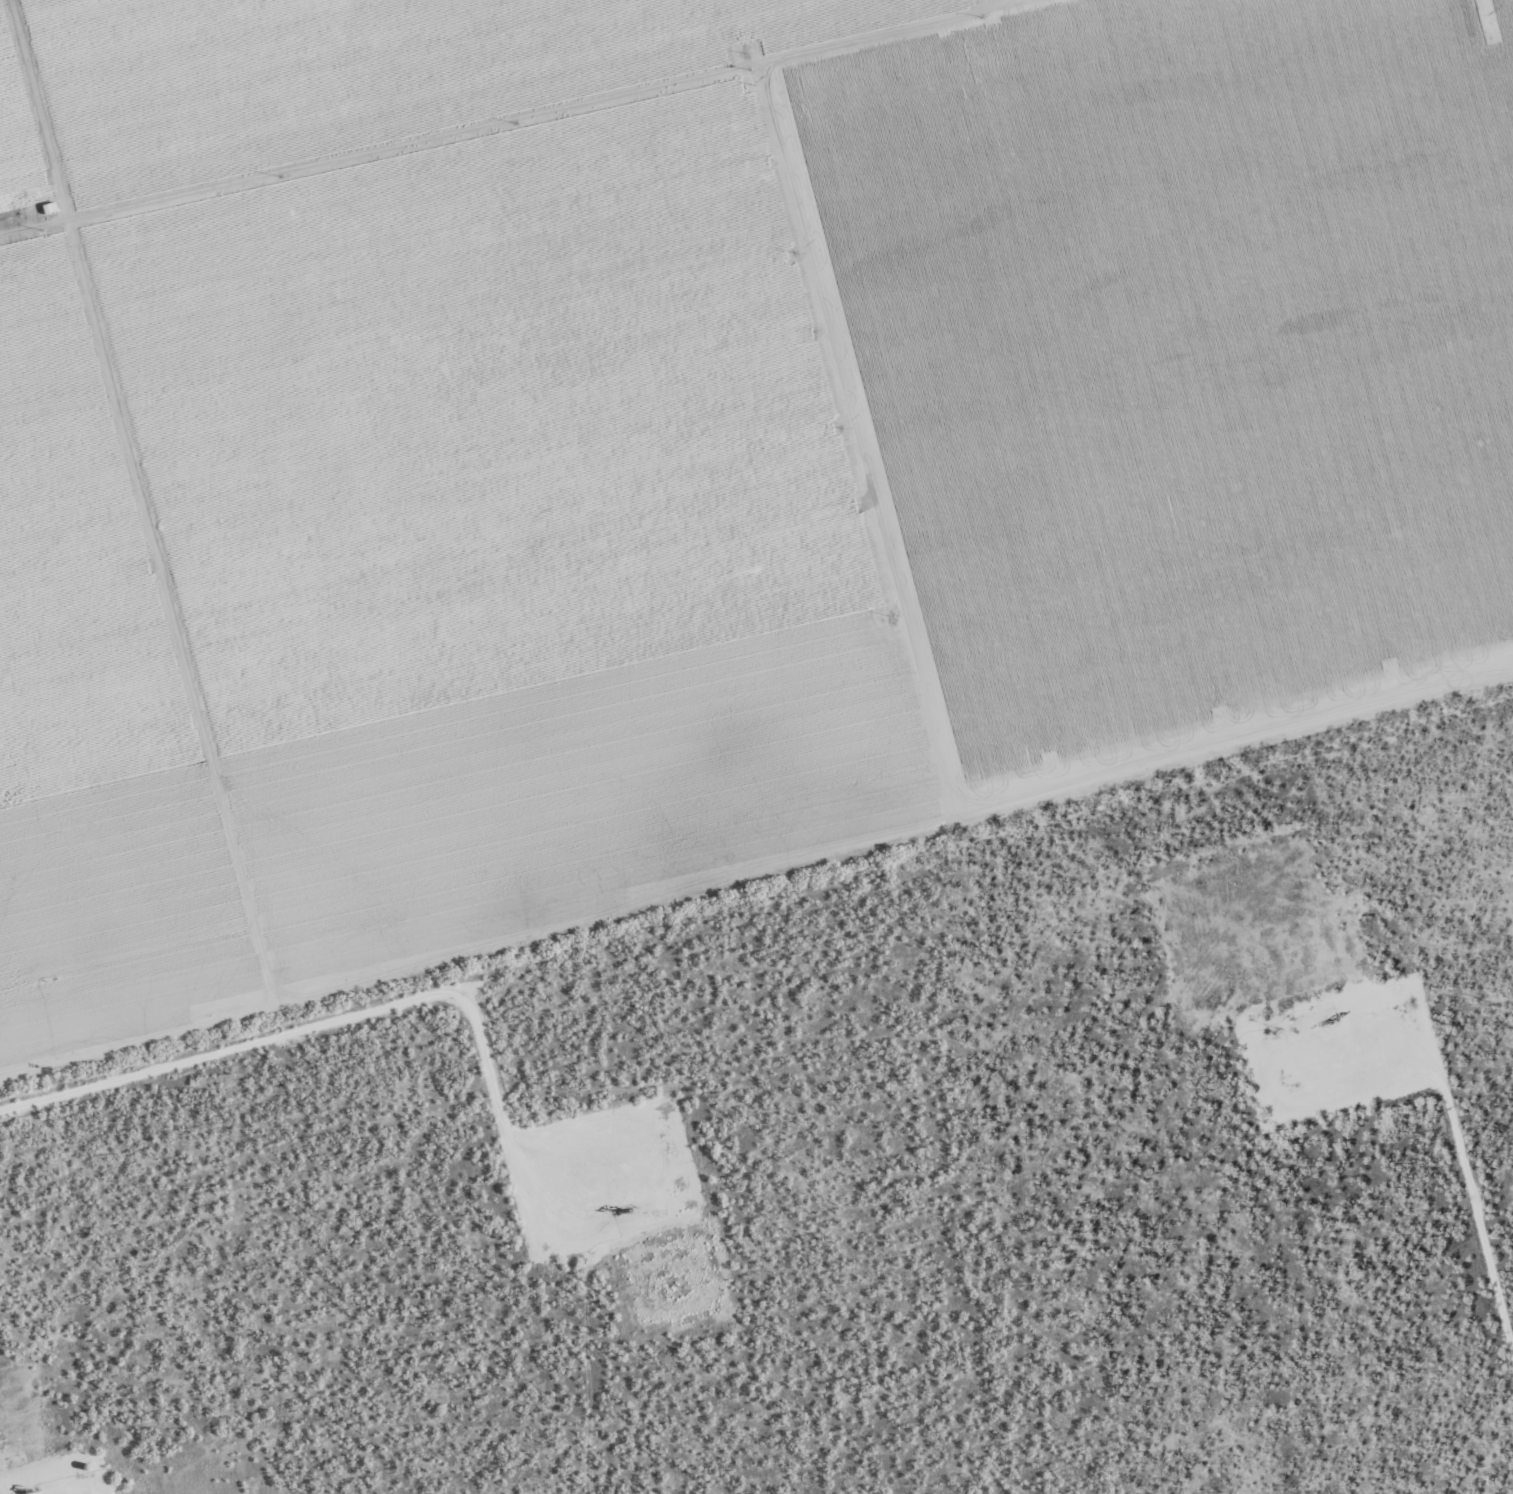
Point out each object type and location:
road: (361, 1014)

